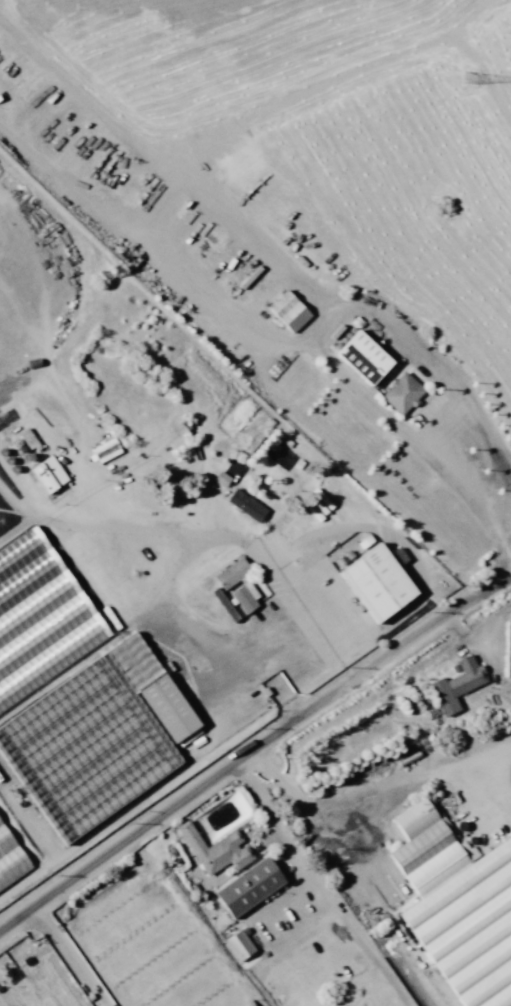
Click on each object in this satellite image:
power tower: (470, 80)
building: (291, 312)
building: (364, 355)
road: (239, 361)
building: (404, 393)
building: (45, 478)
building: (248, 506)
building: (4, 522)
building: (234, 574)
building: (381, 582)
building: (246, 600)
building: (41, 618)
building: (468, 676)
building: (171, 709)
road: (253, 751)
building: (77, 759)
building: (217, 850)
building: (11, 862)
building: (251, 887)
building: (459, 906)
building: (242, 950)
building: (284, 986)
building: (247, 1005)

